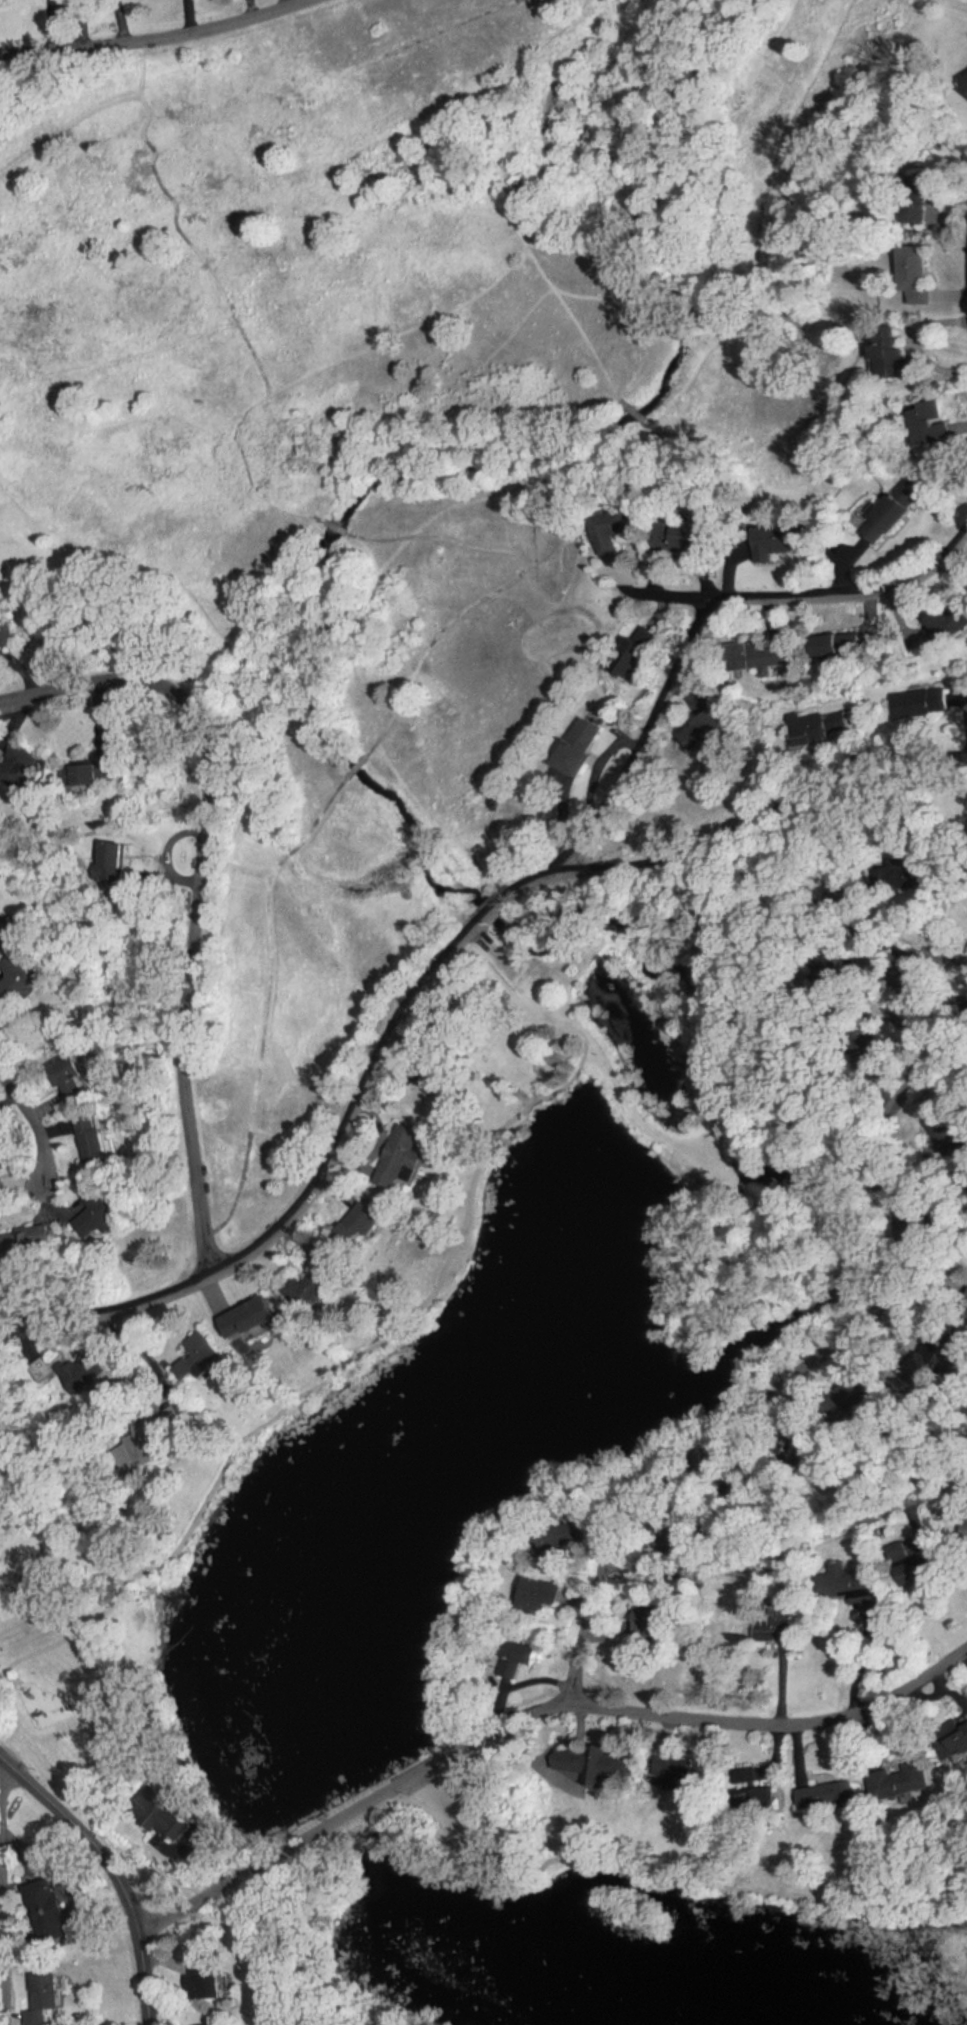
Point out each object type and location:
road: (120, 20)
road: (82, 22)
road: (154, 38)
building: (965, 72)
building: (916, 274)
building: (893, 355)
building: (925, 422)
park: (356, 508)
building: (890, 512)
building: (616, 529)
building: (697, 535)
building: (782, 538)
road: (659, 591)
road: (707, 608)
building: (7, 634)
building: (841, 643)
building: (640, 651)
building: (767, 656)
building: (919, 702)
building: (710, 735)
building: (578, 746)
building: (20, 768)
building: (87, 775)
building: (113, 858)
road: (199, 886)
building: (6, 929)
road: (426, 975)
building: (18, 981)
road: (913, 1070)
building: (77, 1081)
road: (39, 1115)
building: (97, 1142)
building: (402, 1160)
building: (5, 1162)
road: (939, 1213)
building: (102, 1214)
building: (363, 1223)
building: (37, 1240)
building: (309, 1287)
building: (251, 1321)
road: (707, 1444)
road: (925, 1491)
building: (919, 1572)
building: (853, 1588)
building: (670, 1619)
building: (774, 1630)
building: (525, 1652)
road: (859, 1660)
road: (537, 1713)
building: (902, 1782)
building: (827, 1795)
road: (116, 1867)
road: (0, 1895)
building: (205, 1980)

